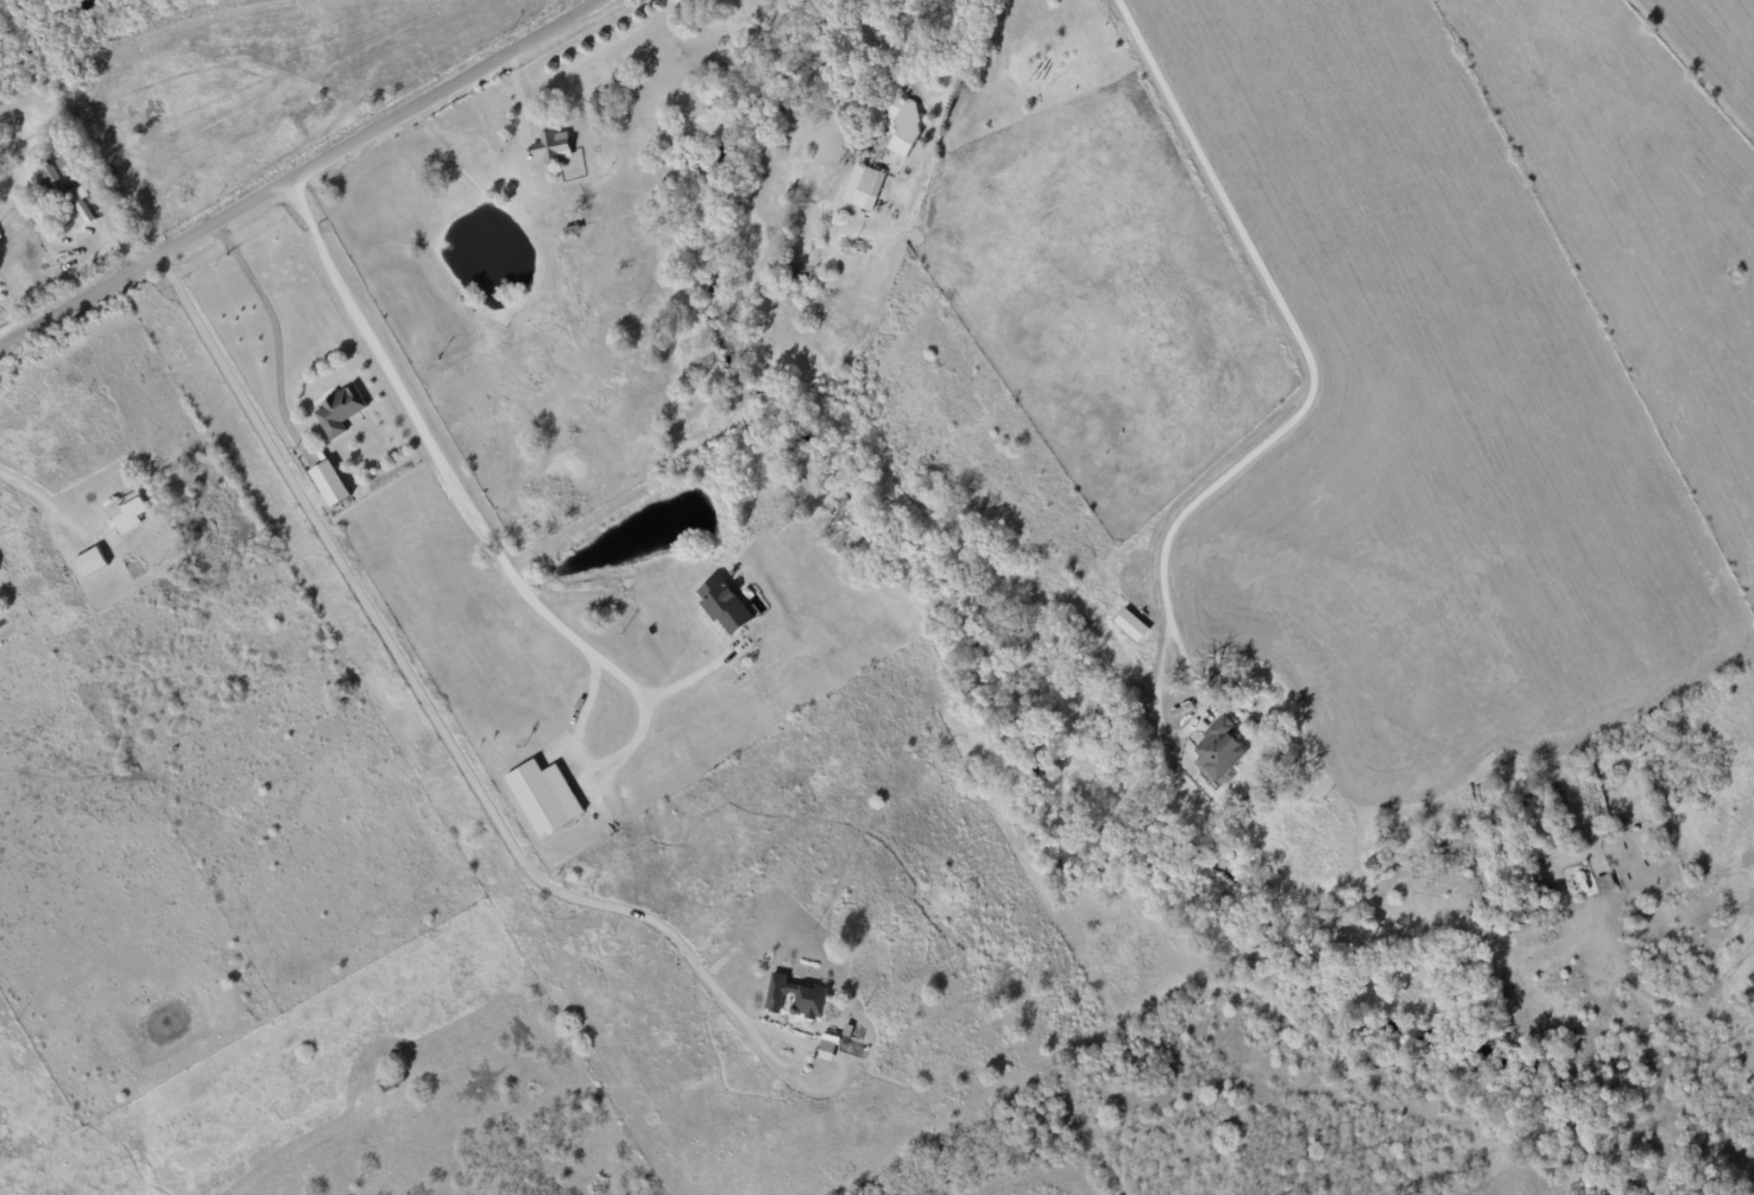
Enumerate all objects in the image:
road: (969, 53)
building: (902, 122)
building: (550, 145)
road: (303, 172)
building: (863, 185)
building: (78, 206)
road: (275, 324)
road: (1300, 327)
building: (336, 410)
road: (444, 461)
building: (327, 481)
road: (32, 494)
building: (124, 511)
building: (87, 561)
building: (721, 603)
building: (1129, 624)
road: (694, 674)
road: (422, 697)
building: (1217, 748)
road: (576, 755)
building: (542, 795)
building: (1603, 881)
road: (1630, 985)
building: (795, 995)
building: (826, 1047)

